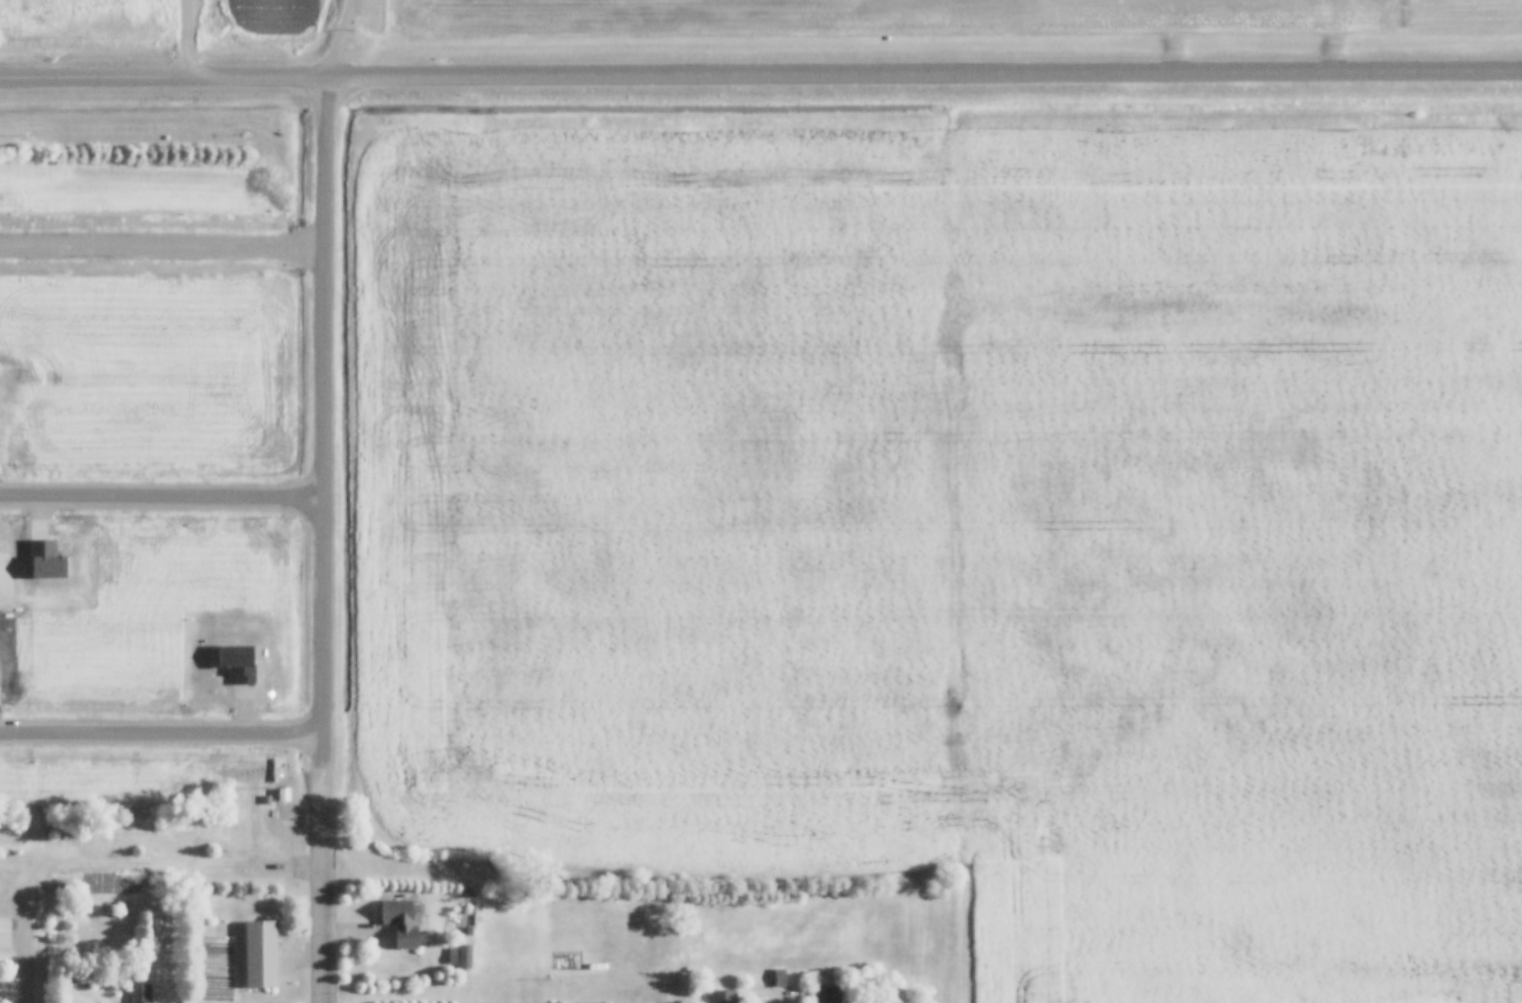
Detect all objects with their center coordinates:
road: (338, 40)
road: (760, 77)
road: (324, 429)
building: (283, 794)
building: (268, 800)
road: (322, 889)
building: (402, 923)
road: (29, 949)
building: (261, 954)
building: (452, 959)
building: (779, 978)
building: (140, 994)
building: (827, 995)
building: (723, 996)
parking lot: (774, 996)

